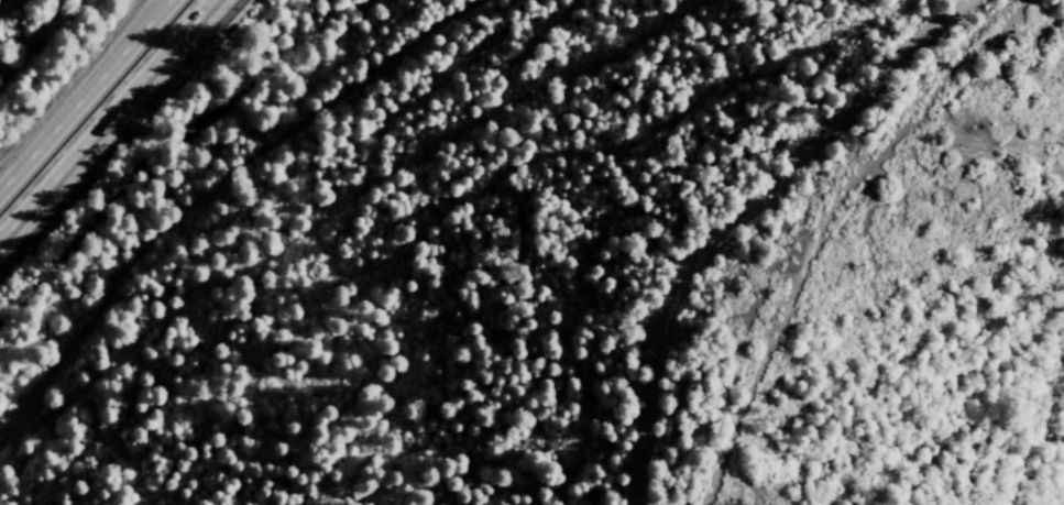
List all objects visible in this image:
road: (84, 94)
road: (107, 119)
road: (223, 167)
road: (731, 215)

